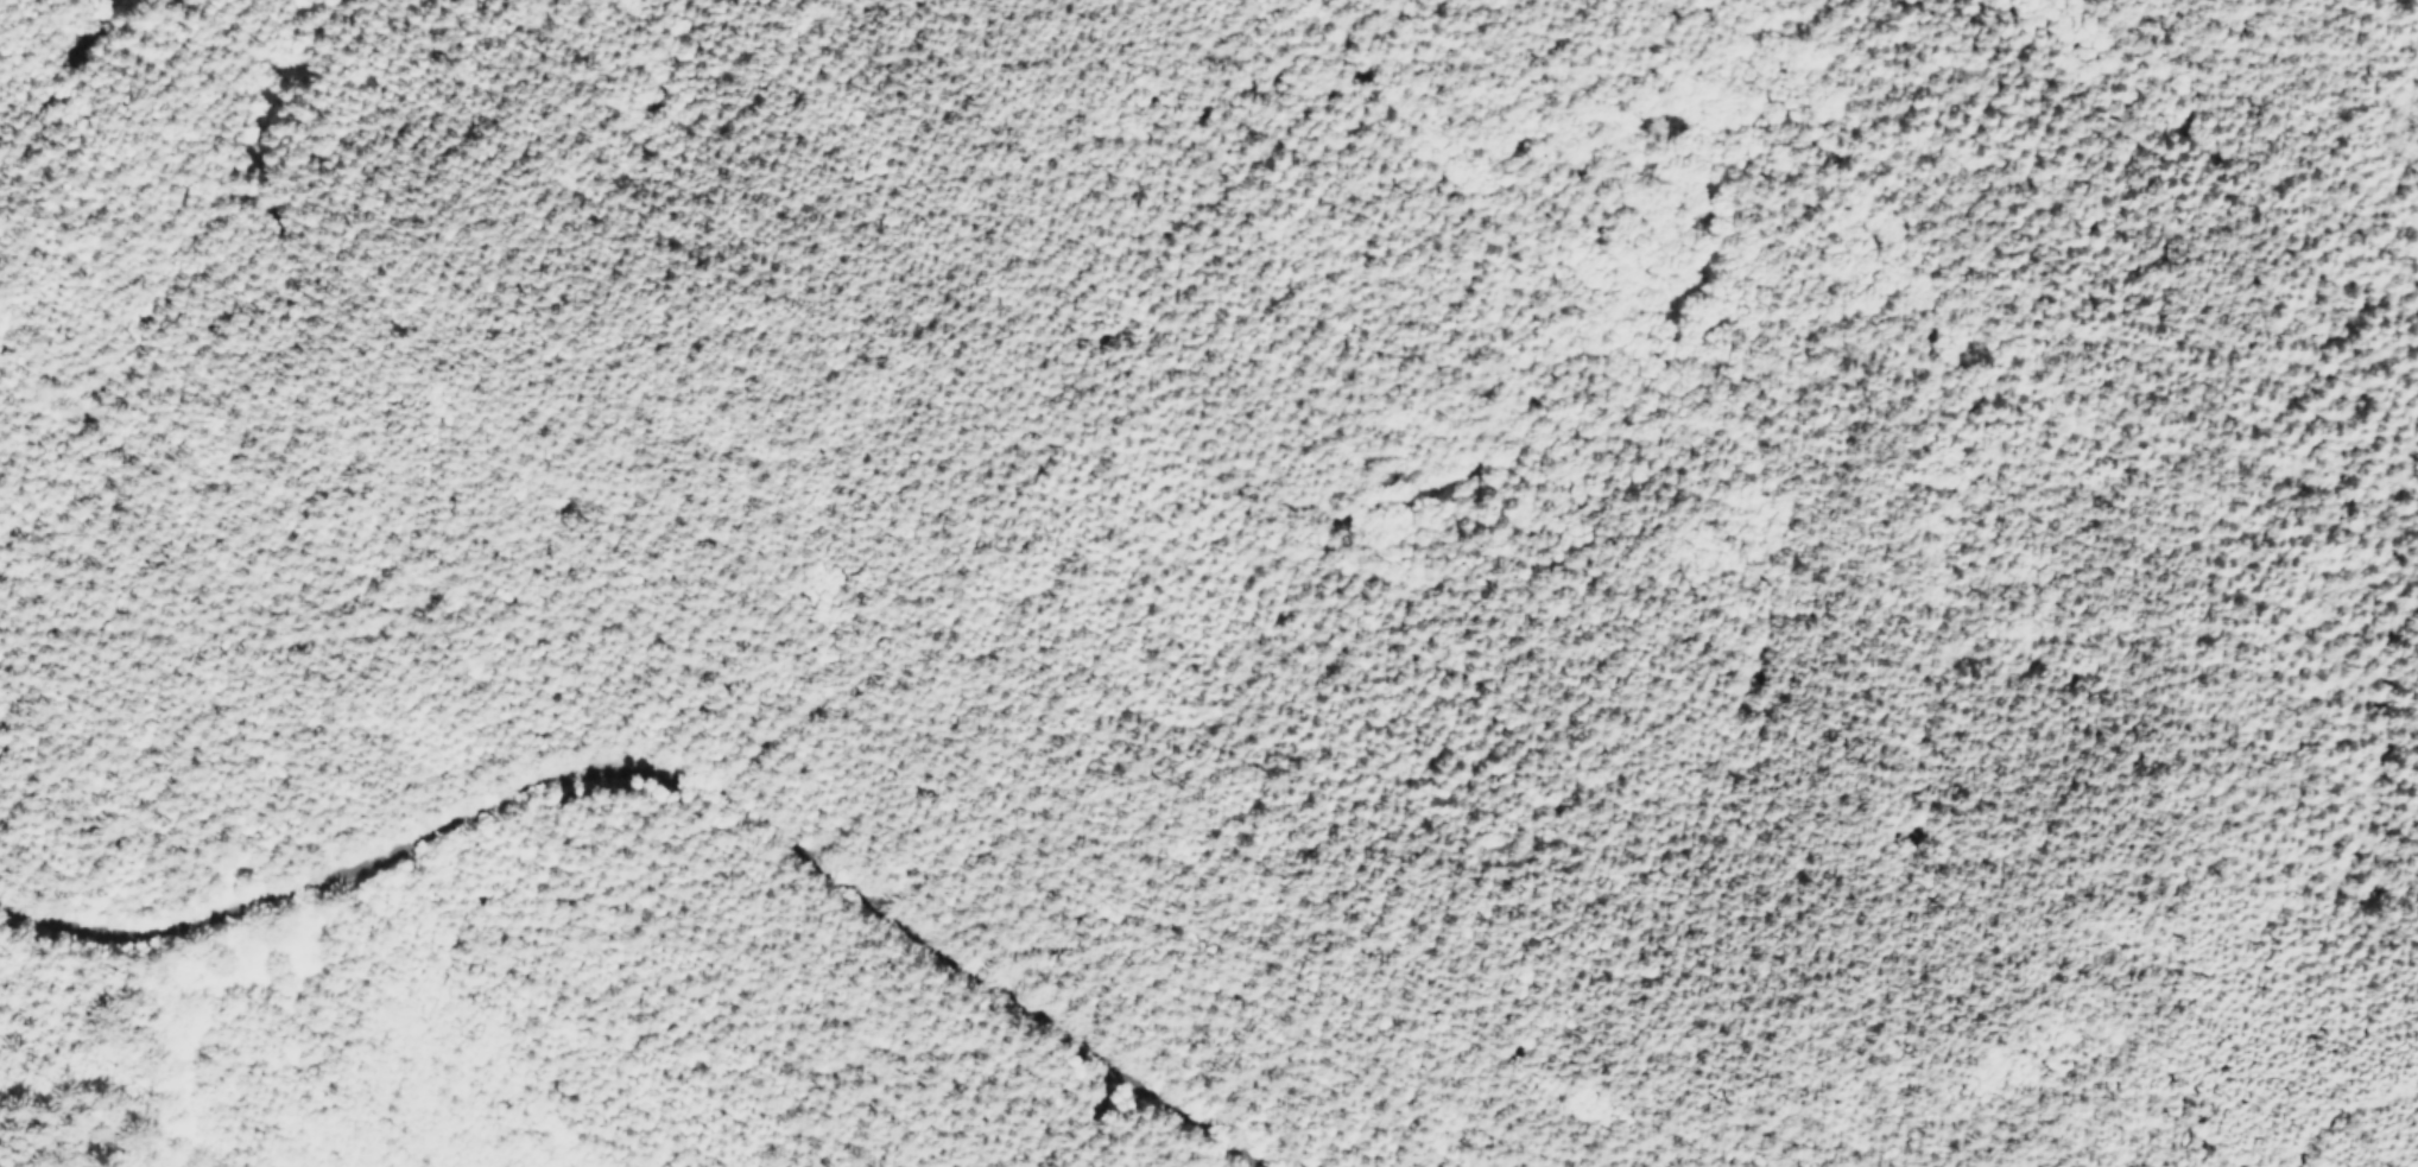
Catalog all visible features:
road: (664, 776)

